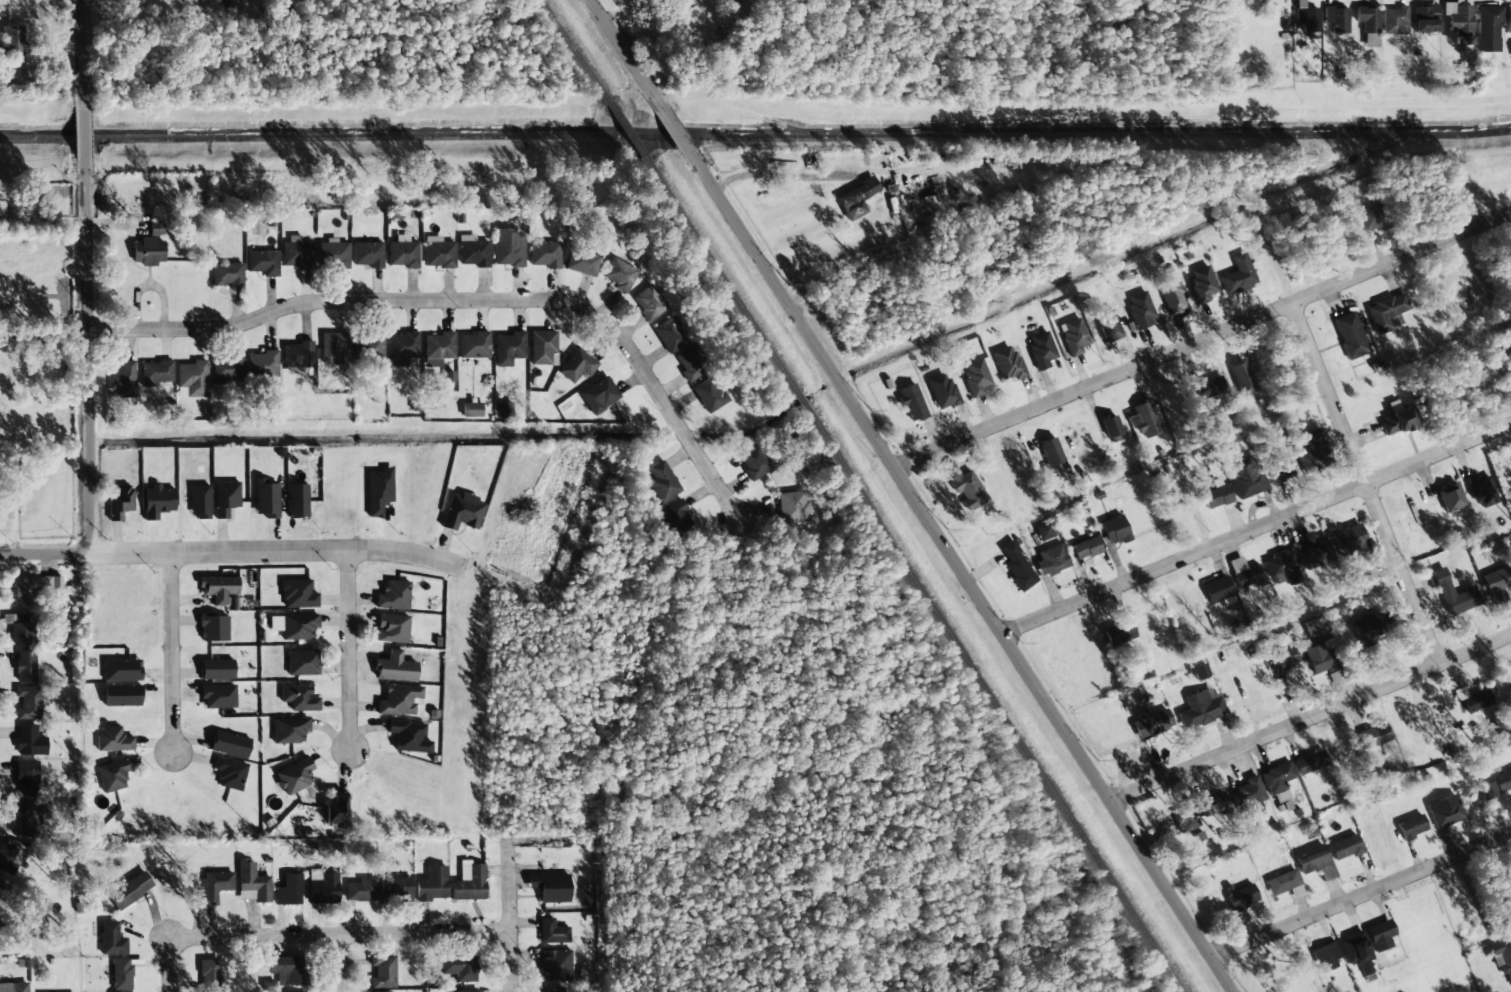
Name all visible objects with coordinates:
building: (230, 2)
building: (1306, 17)
building: (1336, 19)
building: (1425, 19)
building: (1395, 20)
building: (1508, 20)
building: (1459, 23)
building: (1368, 25)
building: (1488, 29)
building: (12, 40)
road: (621, 49)
railway: (575, 51)
road: (80, 54)
building: (1464, 70)
road: (671, 124)
road: (81, 132)
railway: (629, 133)
building: (855, 199)
building: (930, 205)
building: (2, 208)
building: (1370, 219)
building: (155, 229)
building: (148, 251)
building: (473, 251)
building: (293, 252)
building: (439, 253)
building: (508, 253)
building: (333, 254)
building: (367, 254)
building: (403, 254)
building: (545, 254)
building: (263, 262)
building: (582, 262)
building: (228, 275)
building: (619, 275)
building: (1238, 276)
building: (1202, 284)
building: (1171, 295)
road: (467, 301)
building: (649, 303)
building: (1139, 310)
building: (1386, 311)
building: (1108, 326)
building: (670, 335)
building: (1350, 335)
building: (1073, 337)
road: (1203, 340)
building: (474, 345)
building: (333, 347)
building: (370, 347)
building: (542, 347)
building: (402, 348)
building: (509, 348)
building: (438, 349)
building: (1041, 350)
building: (297, 355)
building: (1008, 363)
building: (262, 364)
building: (690, 364)
building: (577, 365)
building: (227, 369)
building: (157, 372)
building: (975, 377)
building: (1242, 378)
building: (123, 379)
building: (192, 379)
building: (1209, 387)
building: (942, 391)
building: (709, 394)
road: (89, 395)
building: (599, 395)
building: (912, 402)
building: (471, 410)
building: (503, 410)
building: (1144, 419)
building: (1110, 425)
building: (1314, 452)
building: (1051, 455)
building: (754, 462)
building: (1281, 468)
building: (1248, 481)
building: (663, 482)
road: (1365, 484)
building: (964, 487)
building: (379, 491)
building: (1481, 491)
building: (1450, 497)
building: (226, 498)
building: (266, 498)
building: (199, 501)
building: (297, 501)
building: (120, 502)
building: (157, 502)
building: (794, 507)
building: (462, 512)
building: (678, 516)
road: (1257, 529)
building: (1114, 530)
building: (1043, 531)
building: (1348, 540)
road: (267, 548)
building: (1086, 548)
building: (1315, 554)
building: (1052, 560)
building: (1017, 567)
building: (1282, 568)
road: (962, 571)
building: (1244, 573)
railway: (916, 579)
building: (38, 588)
building: (219, 589)
building: (298, 594)
building: (1453, 594)
building: (393, 596)
building: (294, 626)
building: (1315, 627)
building: (213, 628)
building: (392, 628)
building: (20, 629)
building: (1119, 632)
building: (1367, 632)
road: (170, 647)
road: (347, 649)
building: (1321, 657)
building: (1283, 660)
building: (302, 663)
building: (26, 666)
building: (395, 668)
building: (217, 669)
building: (121, 670)
building: (1199, 672)
building: (122, 696)
building: (218, 696)
building: (299, 698)
building: (399, 700)
building: (1476, 701)
building: (29, 702)
building: (1200, 709)
road: (1311, 717)
building: (1149, 723)
building: (289, 730)
building: (1374, 736)
building: (409, 737)
building: (113, 740)
building: (30, 741)
building: (230, 744)
building: (1310, 762)
building: (229, 773)
building: (112, 775)
building: (294, 776)
building: (27, 777)
building: (1277, 778)
building: (1502, 781)
building: (1488, 790)
building: (1250, 796)
building: (1213, 804)
building: (336, 809)
building: (1445, 811)
building: (24, 818)
building: (1185, 818)
building: (1411, 827)
building: (1344, 847)
building: (10, 855)
building: (1311, 859)
building: (1282, 882)
building: (252, 883)
building: (469, 883)
building: (432, 884)
building: (215, 886)
building: (396, 887)
building: (550, 887)
building: (323, 889)
building: (130, 890)
building: (289, 890)
building: (361, 890)
building: (1241, 896)
road: (1362, 896)
road: (511, 913)
building: (553, 932)
road: (344, 934)
building: (1380, 935)
building: (111, 939)
building: (1356, 951)
building: (1501, 954)
building: (1325, 956)
road: (341, 963)
building: (556, 965)
road: (170, 966)
building: (459, 967)
building: (286, 970)
building: (383, 971)
building: (121, 974)
building: (209, 975)
building: (14, 987)
building: (555, 989)
building: (464, 991)

